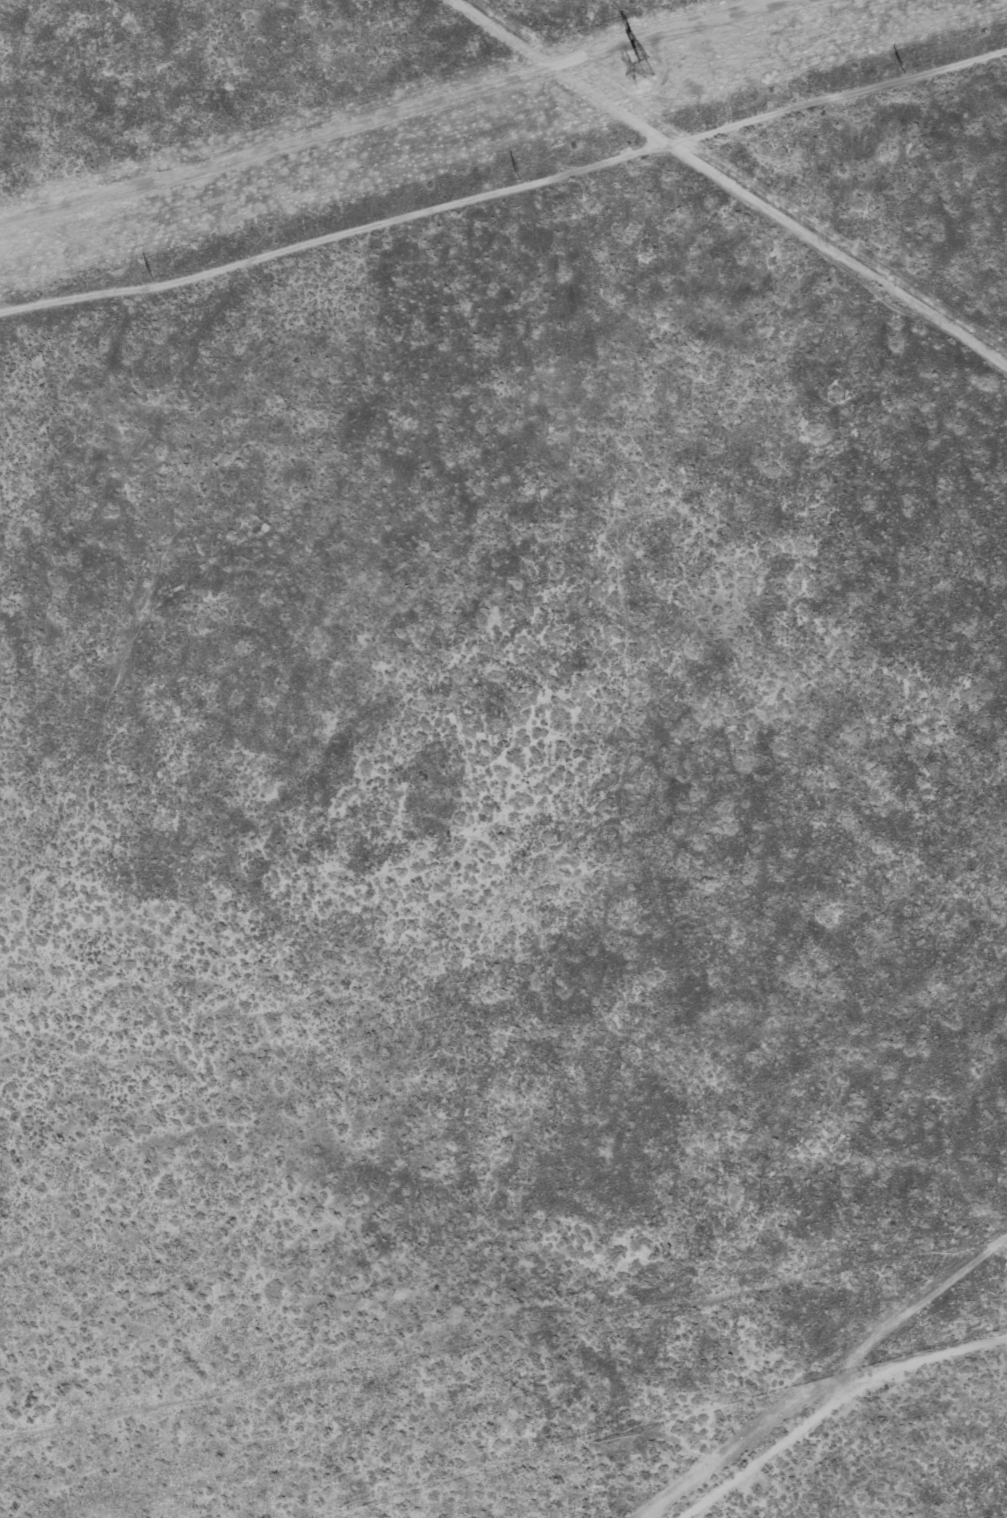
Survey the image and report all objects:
power tower: (641, 68)
power tower: (900, 71)
power tower: (516, 176)
power tower: (150, 278)

